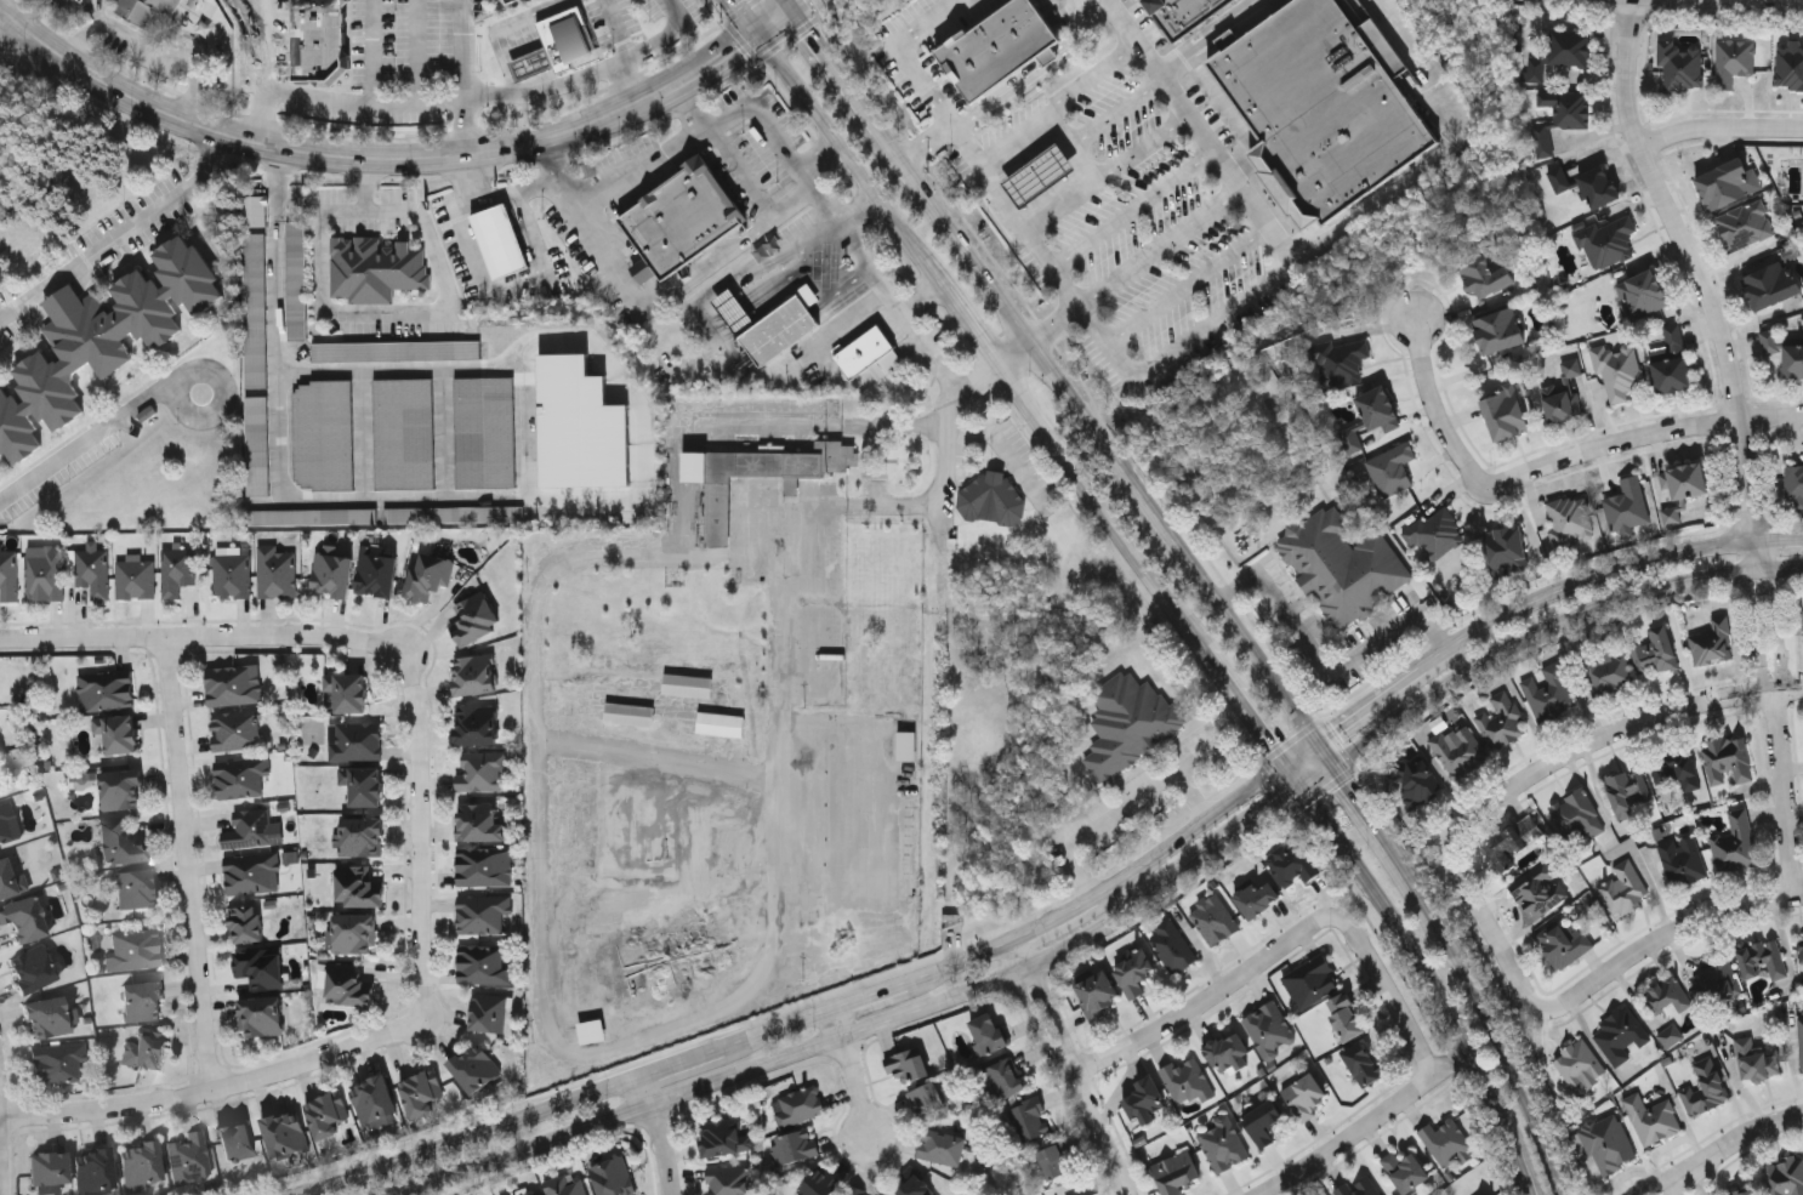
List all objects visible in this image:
building: (507, 1)
road: (790, 4)
traffic signals: (792, 7)
building: (147, 10)
building: (1183, 13)
road: (778, 17)
road: (740, 18)
road: (618, 27)
road: (500, 28)
road: (536, 30)
road: (6, 32)
road: (529, 33)
road: (1205, 34)
road: (521, 36)
traffic signals: (753, 36)
building: (318, 39)
road: (513, 39)
road: (505, 40)
building: (559, 44)
road: (461, 47)
building: (1000, 49)
road: (374, 51)
road: (419, 51)
building: (1560, 53)
road: (546, 56)
road: (906, 56)
road: (827, 58)
road: (539, 59)
building: (1733, 61)
road: (530, 63)
building: (1790, 63)
road: (523, 66)
building: (1680, 66)
road: (516, 69)
road: (261, 72)
road: (554, 75)
road: (1093, 75)
road: (546, 79)
road: (538, 82)
road: (564, 82)
road: (529, 84)
road: (522, 86)
road: (626, 87)
road: (362, 102)
building: (1323, 106)
road: (1119, 108)
building: (1560, 116)
road: (870, 120)
road: (1720, 126)
road: (1199, 129)
road: (770, 130)
road: (1013, 133)
road: (927, 142)
road: (1076, 143)
road: (1148, 147)
road: (1445, 150)
road: (818, 158)
road: (372, 160)
road: (848, 164)
building: (1039, 176)
gas station: (1039, 176)
building: (1728, 183)
road: (277, 184)
building: (1588, 184)
road: (610, 187)
road: (494, 192)
road: (1002, 194)
road: (1067, 204)
road: (1133, 205)
building: (255, 211)
building: (681, 216)
building: (1802, 220)
building: (1745, 226)
road: (832, 232)
road: (118, 234)
building: (500, 240)
building: (1606, 240)
road: (1162, 247)
road: (1694, 266)
building: (376, 269)
building: (1485, 277)
building: (297, 280)
road: (690, 280)
road: (1189, 283)
road: (1067, 284)
building: (1771, 284)
road: (507, 289)
road: (278, 294)
building: (1642, 294)
building: (255, 311)
road: (897, 311)
road: (368, 313)
road: (1215, 313)
road: (1094, 324)
building: (767, 326)
road: (972, 326)
building: (1498, 330)
road: (1039, 335)
building: (102, 341)
building: (397, 351)
building: (1784, 352)
building: (870, 355)
road: (1120, 359)
building: (1671, 360)
building: (1341, 362)
building: (1619, 370)
road: (223, 397)
building: (1560, 402)
building: (1505, 414)
building: (1371, 420)
road: (1440, 421)
building: (581, 426)
building: (485, 432)
road: (1654, 432)
building: (405, 433)
road: (1100, 433)
building: (324, 434)
road: (85, 439)
building: (257, 445)
road: (1006, 445)
road: (946, 446)
building: (1390, 470)
building: (1685, 480)
building: (1793, 485)
building: (718, 489)
road: (522, 495)
building: (991, 499)
road: (1098, 505)
building: (1626, 507)
road: (677, 510)
building: (454, 513)
building: (312, 517)
building: (1570, 520)
building: (1435, 534)
road: (1780, 537)
building: (1506, 551)
building: (1342, 565)
building: (93, 571)
building: (178, 571)
building: (377, 571)
building: (277, 573)
building: (331, 573)
building: (46, 574)
building: (8, 576)
building: (232, 576)
building: (430, 576)
building: (136, 580)
road: (1582, 581)
building: (476, 620)
road: (1555, 627)
building: (1802, 627)
road: (204, 641)
building: (1711, 643)
building: (1655, 653)
road: (1325, 665)
building: (1608, 672)
building: (476, 675)
building: (688, 685)
building: (233, 688)
building: (107, 690)
building: (348, 692)
building: (1548, 693)
road: (1373, 701)
road: (1241, 704)
building: (630, 715)
road: (1779, 716)
building: (1501, 721)
building: (1130, 723)
building: (721, 724)
building: (478, 725)
road: (1621, 729)
building: (235, 730)
building: (118, 733)
traffic signals: (1323, 738)
building: (356, 742)
building: (908, 746)
road: (1330, 749)
road: (1303, 750)
building: (1455, 750)
road: (1199, 758)
building: (1727, 759)
traffic signals: (1338, 761)
traffic signals: (1284, 762)
building: (1674, 768)
building: (482, 772)
building: (241, 776)
road: (1292, 776)
road: (1320, 776)
building: (85, 779)
building: (1417, 781)
building: (364, 786)
building: (123, 790)
building: (1627, 791)
traffic signals: (1302, 792)
road: (1122, 810)
building: (1576, 815)
building: (482, 823)
road: (1383, 824)
building: (8, 826)
building: (252, 829)
road: (1190, 831)
building: (363, 837)
road: (427, 837)
building: (1512, 842)
building: (1734, 843)
building: (121, 846)
building: (1682, 860)
road: (194, 863)
building: (1292, 863)
building: (483, 867)
building: (252, 874)
building: (10, 882)
building: (360, 888)
building: (1622, 888)
building: (136, 889)
building: (1538, 890)
building: (1258, 899)
building: (483, 915)
building: (24, 920)
building: (1215, 920)
road: (1058, 921)
building: (248, 924)
building: (356, 934)
road: (1287, 944)
building: (1563, 944)
building: (1173, 946)
building: (1801, 946)
building: (135, 952)
building: (1762, 958)
road: (963, 961)
building: (483, 966)
building: (261, 968)
road: (1416, 968)
building: (33, 971)
building: (1136, 972)
building: (1718, 977)
building: (1312, 980)
building: (349, 986)
building: (1098, 992)
road: (1577, 992)
building: (1665, 994)
road: (869, 997)
building: (144, 1002)
building: (489, 1013)
building: (261, 1015)
building: (1347, 1015)
building: (47, 1019)
building: (1272, 1029)
road: (777, 1030)
building: (592, 1031)
road: (868, 1031)
building: (989, 1032)
road: (1511, 1035)
building: (1619, 1035)
building: (1671, 1036)
building: (1801, 1042)
building: (144, 1051)
building: (1228, 1052)
building: (1756, 1059)
road: (682, 1062)
building: (1365, 1063)
building: (909, 1064)
building: (57, 1066)
building: (1579, 1066)
road: (1074, 1068)
building: (476, 1069)
road: (851, 1075)
building: (1005, 1077)
building: (1188, 1080)
road: (215, 1086)
building: (1705, 1088)
building: (422, 1093)
building: (1308, 1097)
building: (928, 1098)
building: (375, 1100)
building: (1145, 1100)
building: (800, 1105)
building: (328, 1115)
building: (1031, 1119)
building: (1651, 1119)
building: (1264, 1121)
road: (1363, 1126)
building: (285, 1134)
road: (661, 1134)
road: (468, 1136)
building: (726, 1137)
building: (1447, 1139)
building: (238, 1143)
building: (1224, 1144)
building: (1609, 1144)
road: (1735, 1144)
building: (795, 1146)
building: (942, 1146)
building: (189, 1160)
building: (1056, 1161)
building: (141, 1165)
building: (49, 1170)
building: (1406, 1170)
building: (95, 1171)
building: (1177, 1172)
road: (1515, 1176)
building: (1785, 1176)
building: (614, 1177)
building: (729, 1180)
building: (821, 1183)
building: (568, 1184)
building: (916, 1187)
building: (1359, 1188)
road: (1655, 1188)
road: (1667, 1188)
building: (527, 1191)
building: (859, 1191)
building: (1745, 1193)

